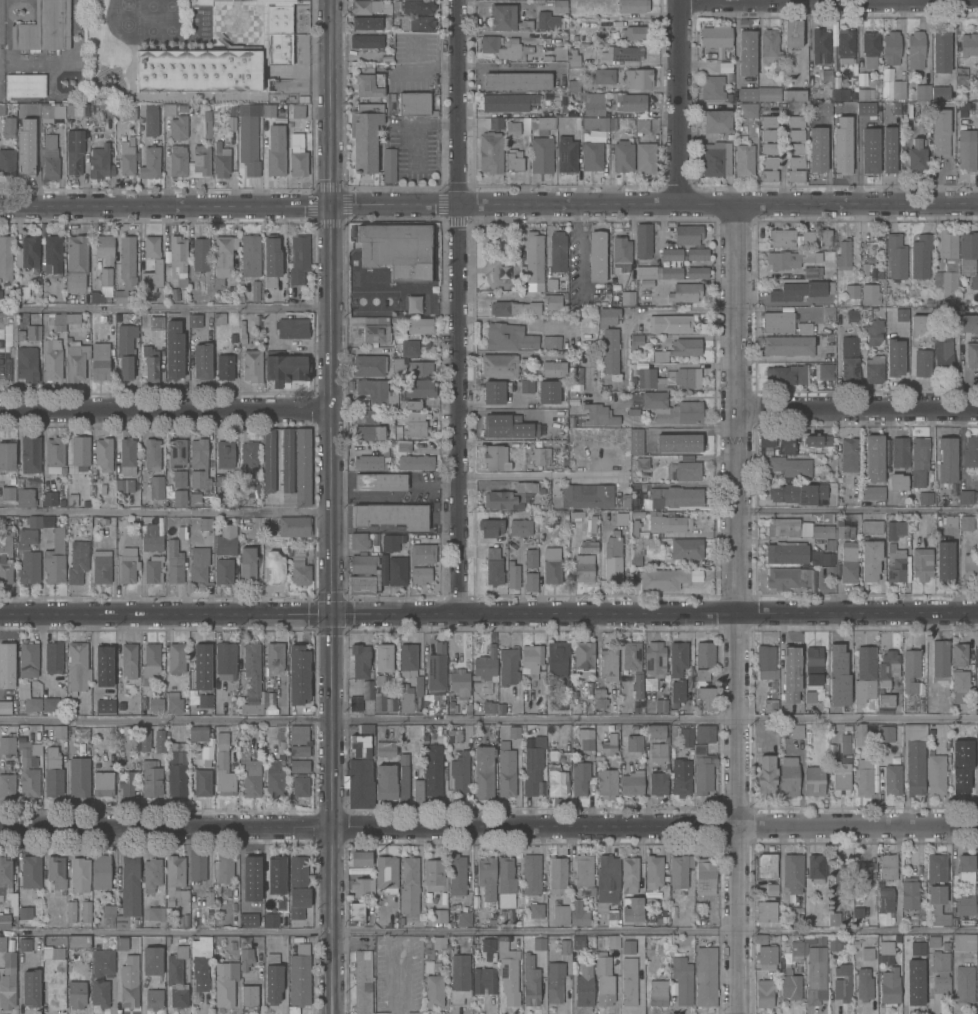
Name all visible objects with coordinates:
building: (286, 1)
road: (827, 1)
building: (217, 2)
building: (240, 2)
building: (195, 3)
building: (396, 5)
building: (632, 5)
building: (417, 6)
building: (559, 6)
building: (370, 7)
building: (506, 18)
building: (548, 20)
building: (270, 21)
building: (365, 22)
building: (417, 23)
building: (285, 24)
building: (52, 25)
building: (636, 32)
building: (792, 32)
building: (22, 35)
building: (716, 36)
building: (573, 37)
building: (600, 37)
building: (366, 40)
building: (747, 40)
building: (969, 44)
building: (845, 45)
building: (503, 46)
building: (821, 46)
building: (892, 47)
building: (771, 48)
building: (870, 49)
building: (916, 49)
building: (940, 50)
building: (622, 52)
building: (277, 54)
building: (245, 56)
building: (722, 56)
building: (573, 57)
building: (386, 59)
road: (429, 67)
road: (519, 67)
building: (220, 68)
building: (724, 68)
building: (146, 70)
building: (169, 70)
building: (193, 70)
building: (245, 75)
building: (604, 75)
building: (961, 76)
building: (826, 77)
building: (638, 78)
building: (730, 78)
building: (209, 79)
building: (517, 80)
building: (369, 81)
building: (862, 82)
building: (836, 83)
building: (19, 84)
building: (40, 84)
building: (574, 85)
building: (245, 87)
building: (712, 87)
building: (893, 90)
building: (922, 91)
building: (940, 92)
building: (769, 93)
building: (865, 93)
building: (794, 94)
building: (839, 94)
building: (560, 98)
building: (508, 101)
building: (630, 101)
road: (675, 102)
building: (415, 104)
building: (594, 104)
building: (117, 106)
building: (182, 107)
building: (820, 108)
building: (864, 108)
building: (896, 108)
building: (2, 109)
building: (77, 109)
building: (169, 109)
building: (192, 109)
building: (748, 109)
building: (129, 110)
building: (269, 110)
building: (298, 110)
building: (51, 111)
building: (232, 116)
building: (151, 118)
building: (631, 121)
building: (717, 121)
building: (495, 122)
building: (68, 123)
building: (290, 123)
building: (595, 123)
building: (612, 123)
building: (207, 124)
building: (542, 124)
building: (526, 125)
building: (642, 125)
building: (9, 126)
building: (178, 126)
building: (513, 128)
building: (940, 132)
building: (365, 135)
building: (249, 138)
building: (769, 147)
building: (796, 148)
building: (75, 150)
building: (276, 150)
building: (888, 150)
building: (967, 150)
building: (870, 151)
building: (491, 152)
building: (298, 154)
building: (542, 154)
building: (567, 155)
building: (592, 155)
building: (623, 155)
building: (646, 156)
building: (917, 156)
building: (128, 157)
building: (717, 158)
building: (178, 159)
building: (514, 159)
building: (221, 160)
building: (744, 160)
building: (50, 161)
building: (101, 161)
building: (200, 161)
building: (7, 162)
building: (150, 162)
building: (26, 163)
building: (843, 163)
building: (389, 164)
building: (820, 164)
road: (164, 204)
road: (652, 204)
building: (688, 235)
building: (782, 237)
building: (808, 237)
building: (825, 237)
building: (644, 240)
building: (151, 245)
road: (580, 249)
building: (30, 250)
building: (397, 250)
building: (558, 250)
building: (200, 253)
building: (622, 253)
building: (671, 253)
building: (697, 253)
building: (53, 254)
building: (843, 254)
building: (251, 255)
building: (897, 255)
building: (920, 255)
building: (6, 256)
building: (105, 256)
building: (597, 256)
building: (223, 258)
building: (299, 258)
building: (791, 258)
building: (830, 258)
building: (178, 259)
building: (127, 260)
building: (271, 260)
building: (534, 260)
building: (969, 262)
building: (76, 267)
building: (864, 267)
building: (947, 269)
building: (646, 271)
building: (671, 271)
building: (697, 271)
building: (813, 272)
building: (880, 273)
building: (152, 276)
building: (37, 279)
building: (62, 279)
building: (647, 282)
building: (552, 283)
building: (801, 289)
building: (256, 290)
building: (852, 290)
building: (685, 291)
building: (21, 292)
building: (870, 293)
building: (121, 295)
building: (0, 296)
building: (96, 296)
building: (106, 297)
building: (241, 297)
building: (628, 297)
building: (929, 300)
building: (553, 301)
building: (412, 304)
road: (462, 306)
road: (164, 307)
building: (508, 307)
building: (534, 308)
road: (676, 311)
building: (867, 311)
building: (829, 314)
building: (608, 315)
building: (852, 315)
building: (901, 316)
building: (9, 317)
building: (219, 317)
building: (58, 318)
building: (72, 318)
building: (396, 318)
building: (178, 320)
building: (156, 321)
building: (143, 322)
building: (194, 322)
building: (670, 322)
building: (776, 322)
building: (921, 322)
building: (969, 322)
building: (420, 326)
building: (293, 327)
building: (804, 327)
building: (58, 328)
building: (33, 331)
building: (242, 331)
building: (375, 331)
building: (874, 331)
building: (20, 333)
building: (2, 335)
building: (398, 335)
building: (510, 336)
building: (233, 337)
building: (974, 339)
building: (552, 341)
building: (635, 342)
building: (788, 345)
building: (413, 346)
building: (686, 346)
building: (126, 348)
building: (385, 349)
building: (610, 350)
building: (944, 351)
building: (972, 354)
building: (660, 355)
building: (894, 357)
building: (849, 358)
building: (52, 359)
building: (75, 359)
building: (6, 360)
building: (100, 360)
building: (151, 362)
building: (922, 362)
building: (28, 363)
building: (200, 363)
building: (252, 364)
building: (369, 364)
building: (499, 364)
building: (225, 366)
building: (175, 367)
building: (287, 367)
building: (411, 367)
building: (874, 367)
building: (554, 368)
building: (826, 370)
building: (791, 374)
building: (576, 378)
building: (670, 378)
building: (633, 380)
building: (527, 381)
building: (417, 387)
building: (502, 388)
building: (376, 391)
building: (547, 392)
building: (654, 399)
building: (360, 402)
building: (411, 403)
road: (503, 405)
road: (164, 410)
building: (633, 411)
building: (682, 412)
road: (858, 412)
building: (599, 414)
building: (365, 415)
building: (415, 415)
road: (681, 423)
building: (502, 426)
building: (416, 428)
building: (369, 432)
building: (398, 435)
building: (545, 435)
building: (767, 438)
building: (634, 441)
building: (787, 441)
building: (819, 441)
building: (677, 443)
building: (404, 446)
building: (80, 451)
building: (177, 451)
building: (896, 451)
building: (971, 451)
building: (103, 453)
building: (152, 453)
building: (225, 453)
building: (55, 454)
building: (127, 454)
building: (849, 454)
building: (7, 456)
building: (874, 456)
building: (29, 457)
building: (249, 457)
building: (497, 457)
building: (540, 457)
building: (687, 458)
building: (269, 459)
building: (947, 459)
building: (919, 460)
building: (415, 461)
building: (369, 462)
building: (642, 462)
building: (199, 463)
building: (296, 466)
building: (790, 466)
building: (684, 470)
road: (504, 475)
road: (574, 475)
building: (93, 477)
building: (178, 478)
building: (645, 478)
building: (898, 480)
building: (220, 481)
building: (380, 481)
road: (438, 484)
building: (156, 486)
building: (124, 487)
building: (103, 488)
building: (253, 490)
building: (8, 492)
building: (873, 492)
building: (796, 493)
building: (587, 496)
building: (674, 496)
building: (25, 497)
building: (179, 497)
building: (925, 497)
building: (965, 497)
building: (50, 498)
building: (195, 498)
building: (73, 499)
building: (93, 499)
building: (502, 499)
building: (625, 501)
road: (328, 506)
road: (857, 512)
road: (164, 514)
building: (391, 514)
building: (637, 515)
building: (621, 518)
building: (827, 518)
building: (104, 520)
building: (951, 520)
building: (34, 521)
building: (48, 521)
building: (966, 522)
building: (205, 523)
building: (669, 523)
building: (294, 526)
building: (521, 526)
building: (782, 526)
building: (871, 526)
building: (490, 528)
building: (841, 528)
building: (634, 529)
building: (896, 529)
building: (804, 530)
building: (822, 530)
building: (851, 531)
building: (27, 535)
building: (152, 538)
building: (226, 541)
building: (358, 541)
building: (830, 544)
building: (589, 546)
building: (686, 548)
building: (128, 550)
building: (423, 552)
building: (787, 552)
building: (6, 553)
building: (636, 555)
building: (531, 557)
building: (613, 557)
building: (55, 558)
building: (827, 558)
building: (871, 559)
building: (78, 560)
building: (945, 560)
building: (174, 561)
building: (247, 561)
building: (392, 562)
building: (814, 562)
building: (848, 562)
building: (362, 563)
building: (922, 563)
building: (198, 564)
building: (896, 564)
building: (101, 565)
building: (298, 565)
building: (552, 565)
building: (494, 566)
building: (30, 567)
building: (128, 567)
building: (584, 567)
building: (970, 567)
building: (153, 568)
building: (272, 568)
building: (223, 569)
building: (831, 572)
building: (420, 574)
building: (513, 574)
building: (786, 577)
building: (663, 578)
building: (531, 581)
building: (362, 583)
road: (737, 609)
road: (488, 614)
building: (959, 653)
building: (631, 654)
building: (53, 656)
building: (177, 657)
building: (275, 657)
building: (384, 657)
building: (976, 657)
building: (5, 658)
building: (225, 658)
building: (531, 658)
building: (655, 658)
building: (678, 658)
building: (940, 658)
building: (29, 659)
building: (129, 659)
building: (408, 659)
building: (583, 659)
building: (704, 659)
building: (839, 659)
building: (360, 660)
building: (766, 661)
building: (150, 662)
building: (791, 662)
building: (866, 662)
building: (486, 663)
building: (557, 663)
building: (609, 663)
building: (103, 666)
building: (508, 666)
building: (888, 666)
building: (77, 667)
building: (814, 667)
building: (197, 668)
building: (252, 669)
building: (910, 669)
building: (298, 674)
building: (379, 678)
building: (437, 678)
building: (460, 682)
building: (638, 683)
building: (960, 684)
building: (417, 686)
building: (367, 690)
building: (847, 691)
building: (863, 691)
building: (677, 692)
building: (977, 693)
building: (526, 695)
building: (707, 696)
building: (810, 696)
building: (27, 697)
building: (406, 698)
building: (600, 698)
building: (834, 700)
building: (197, 701)
building: (885, 701)
building: (174, 702)
building: (560, 702)
building: (50, 703)
building: (355, 703)
building: (382, 703)
building: (155, 704)
building: (660, 704)
building: (770, 704)
building: (921, 704)
building: (104, 706)
building: (4, 707)
building: (489, 707)
building: (500, 707)
building: (787, 707)
building: (252, 708)
building: (468, 709)
road: (489, 720)
building: (655, 730)
building: (796, 730)
building: (59, 731)
building: (514, 731)
building: (552, 731)
building: (198, 733)
building: (298, 733)
building: (705, 733)
building: (860, 733)
building: (885, 733)
building: (929, 733)
building: (81, 734)
building: (455, 735)
building: (971, 735)
building: (686, 736)
building: (145, 738)
building: (586, 738)
building: (159, 740)
building: (222, 741)
building: (362, 741)
building: (635, 742)
building: (609, 744)
building: (7, 745)
building: (385, 748)
building: (299, 750)
building: (205, 752)
building: (657, 752)
building: (553, 755)
building: (564, 755)
building: (915, 756)
building: (206, 764)
building: (299, 765)
building: (27, 766)
building: (842, 767)
building: (177, 768)
building: (533, 768)
building: (660, 768)
building: (433, 769)
building: (506, 769)
building: (460, 771)
building: (484, 771)
building: (702, 771)
building: (53, 773)
building: (224, 774)
building: (250, 774)
building: (275, 774)
building: (766, 774)
building: (936, 774)
building: (403, 775)
building: (789, 775)
building: (79, 776)
building: (151, 777)
building: (580, 777)
building: (681, 777)
building: (963, 779)
building: (558, 780)
building: (814, 780)
building: (891, 780)
building: (202, 781)
building: (385, 781)
building: (127, 782)
building: (607, 782)
building: (632, 782)
building: (865, 782)
building: (977, 782)
building: (103, 783)
building: (360, 783)
building: (658, 783)
building: (7, 784)
building: (300, 785)
building: (417, 788)
road: (488, 827)
building: (1, 847)
building: (360, 857)
building: (197, 864)
building: (225, 865)
building: (766, 865)
building: (887, 866)
building: (920, 867)
building: (937, 867)
building: (966, 867)
building: (816, 868)
building: (252, 869)
building: (583, 870)
building: (680, 870)
building: (31, 871)
building: (57, 871)
building: (101, 871)
building: (654, 871)
building: (793, 872)
building: (80, 873)
building: (152, 873)
building: (531, 873)
building: (5, 874)
building: (436, 874)
building: (457, 874)
building: (629, 874)
building: (863, 874)
building: (275, 875)
building: (558, 875)
building: (705, 876)
building: (176, 877)
building: (842, 878)
building: (487, 881)
building: (506, 882)
building: (386, 885)
building: (608, 886)
building: (297, 887)
building: (362, 887)
building: (409, 888)
building: (129, 889)
building: (772, 889)
building: (592, 890)
building: (228, 891)
building: (910, 893)
building: (209, 896)
building: (247, 897)
building: (702, 899)
building: (12, 900)
building: (885, 903)
building: (966, 904)
building: (938, 905)
building: (632, 908)
building: (71, 910)
building: (85, 910)
building: (537, 910)
building: (766, 911)
building: (976, 911)
building: (25, 912)
building: (153, 912)
building: (356, 912)
building: (857, 912)
building: (561, 914)
building: (439, 915)
building: (107, 916)
building: (580, 917)
building: (464, 918)
building: (833, 918)
building: (4, 920)
building: (246, 920)
building: (270, 920)
building: (401, 920)
building: (135, 921)
building: (185, 921)
building: (677, 921)
building: (913, 921)
building: (173, 922)
building: (517, 923)
building: (857, 923)
building: (766, 924)
road: (489, 934)
building: (760, 938)
building: (148, 939)
building: (167, 939)
building: (439, 940)
building: (821, 940)
building: (613, 941)
building: (934, 941)
building: (242, 942)
building: (578, 942)
building: (964, 942)
building: (976, 942)
building: (2, 943)
building: (539, 943)
building: (76, 944)
building: (120, 944)
building: (512, 944)
building: (24, 945)
building: (232, 945)
building: (945, 945)
building: (564, 946)
building: (628, 946)
building: (835, 946)
building: (805, 947)
building: (886, 947)
building: (487, 948)
building: (797, 948)
building: (917, 948)
building: (200, 951)
building: (867, 953)
building: (767, 954)
building: (246, 957)
building: (9, 958)
building: (152, 960)
building: (430, 961)
building: (103, 962)
building: (509, 970)
building: (940, 973)
building: (299, 975)
building: (816, 975)
building: (706, 976)
building: (177, 977)
building: (460, 977)
building: (55, 978)
building: (273, 978)
building: (604, 978)
building: (682, 978)
building: (484, 979)
road: (396, 980)
building: (531, 980)
building: (362, 981)
building: (555, 981)
building: (629, 981)
building: (204, 982)
building: (915, 982)
building: (226, 983)
building: (840, 983)
building: (964, 983)
building: (864, 984)
building: (889, 985)
building: (791, 986)
building: (7, 987)
building: (584, 987)
building: (30, 988)
building: (434, 990)
building: (100, 992)
building: (129, 992)
building: (657, 992)
building: (764, 992)
building: (76, 994)
building: (154, 995)
building: (249, 997)

